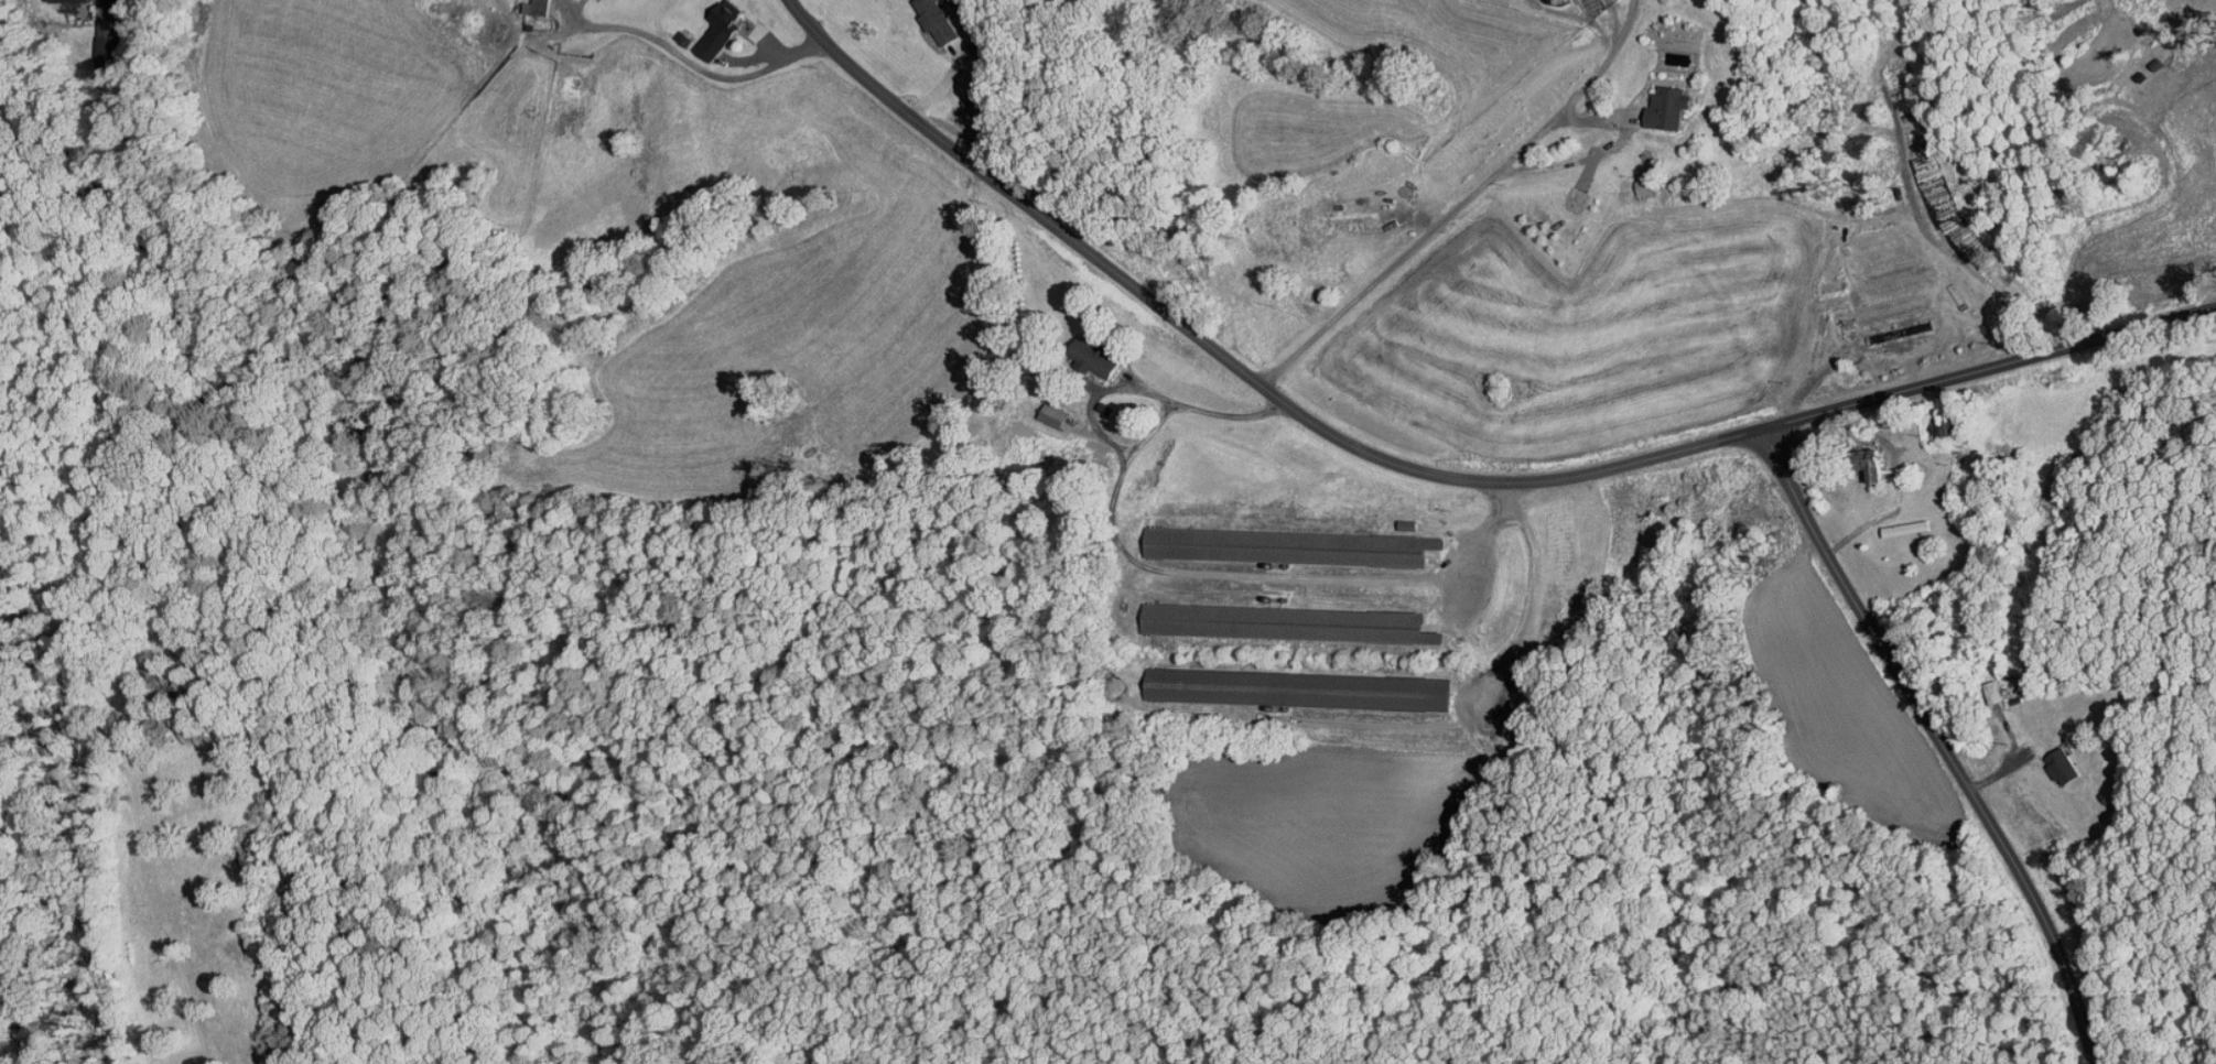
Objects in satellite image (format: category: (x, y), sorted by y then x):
building: (529, 3)
building: (930, 15)
building: (711, 23)
road: (694, 64)
building: (1661, 101)
building: (1636, 181)
road: (1464, 202)
building: (1089, 351)
building: (1045, 409)
building: (1867, 463)
road: (1435, 468)
building: (1190, 538)
road: (1182, 573)
road: (1534, 594)
building: (1176, 612)
building: (1289, 683)
building: (1982, 685)
road: (1943, 740)
building: (2055, 760)

